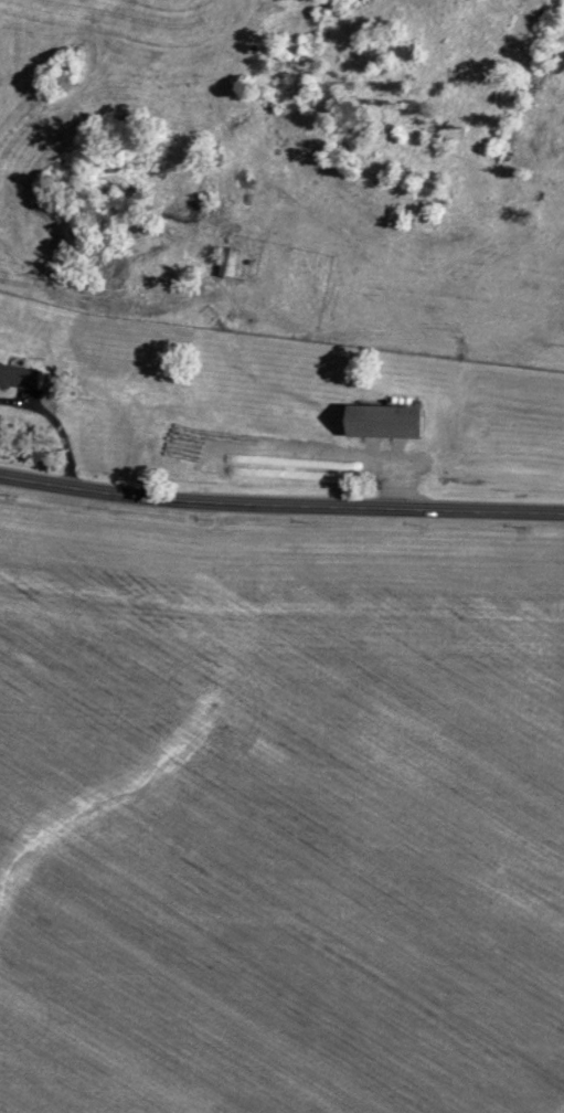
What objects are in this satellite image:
building: (227, 261)
building: (15, 378)
building: (380, 421)
road: (280, 504)

